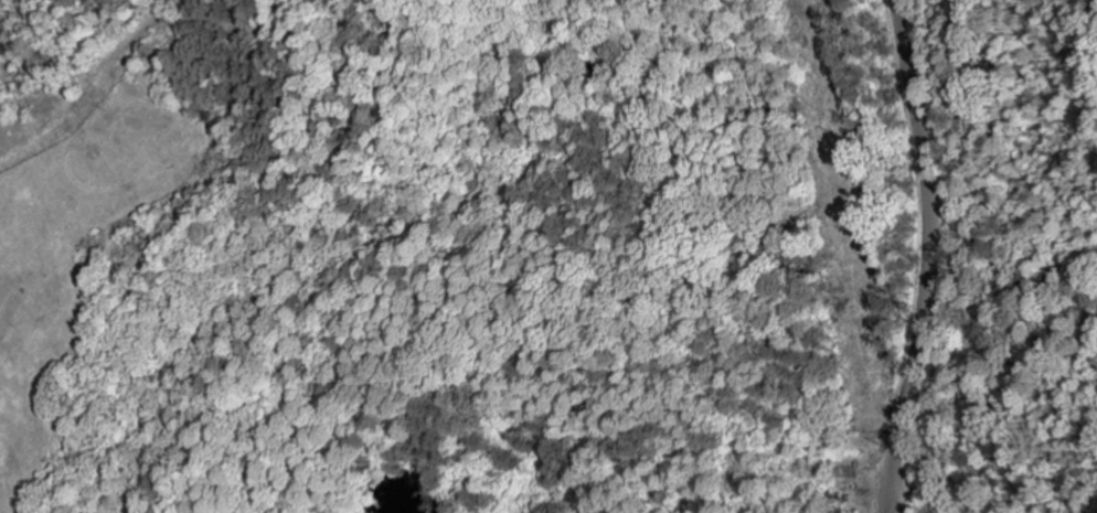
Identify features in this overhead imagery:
road: (918, 257)

